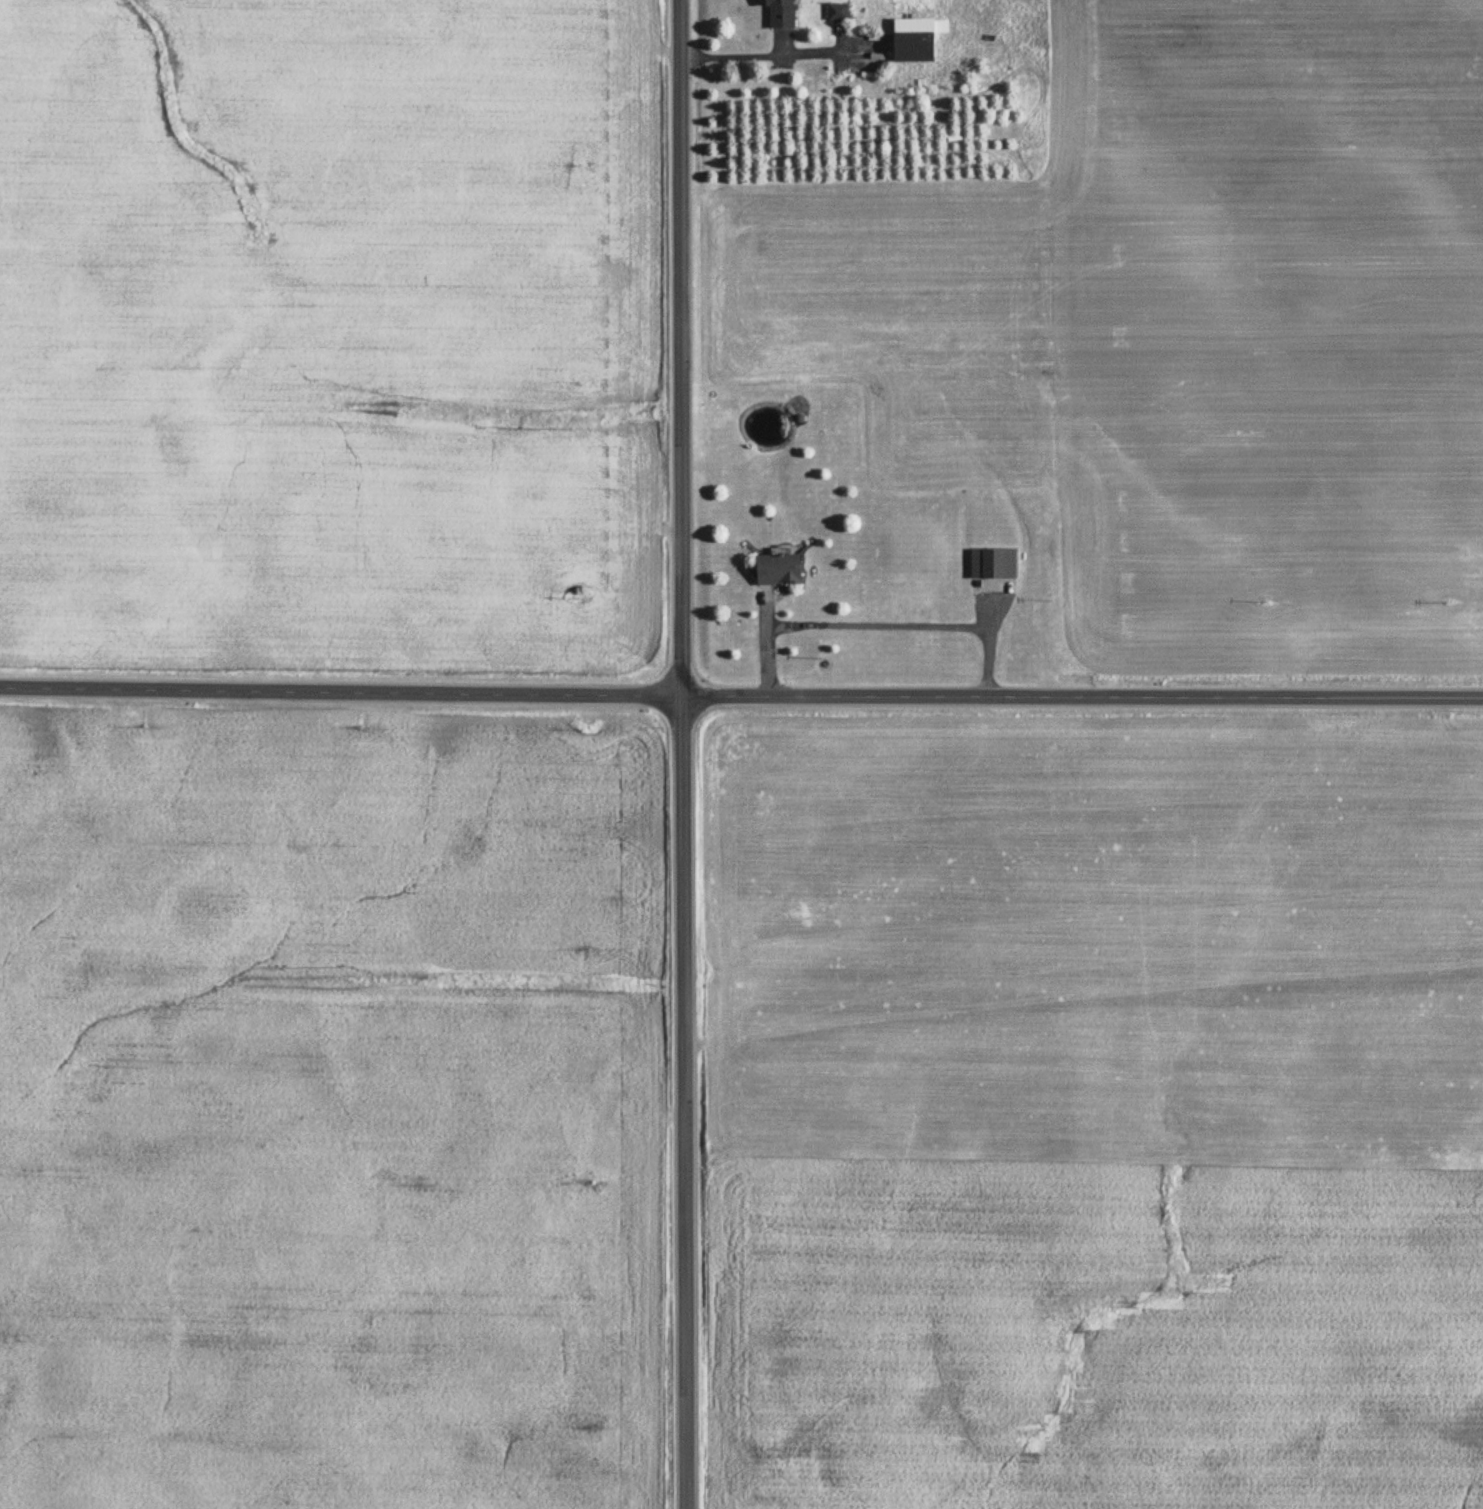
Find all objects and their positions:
building: (838, 13)
building: (780, 14)
building: (913, 48)
road: (772, 51)
building: (993, 563)
building: (777, 569)
road: (878, 622)
road: (741, 696)
road: (683, 754)

